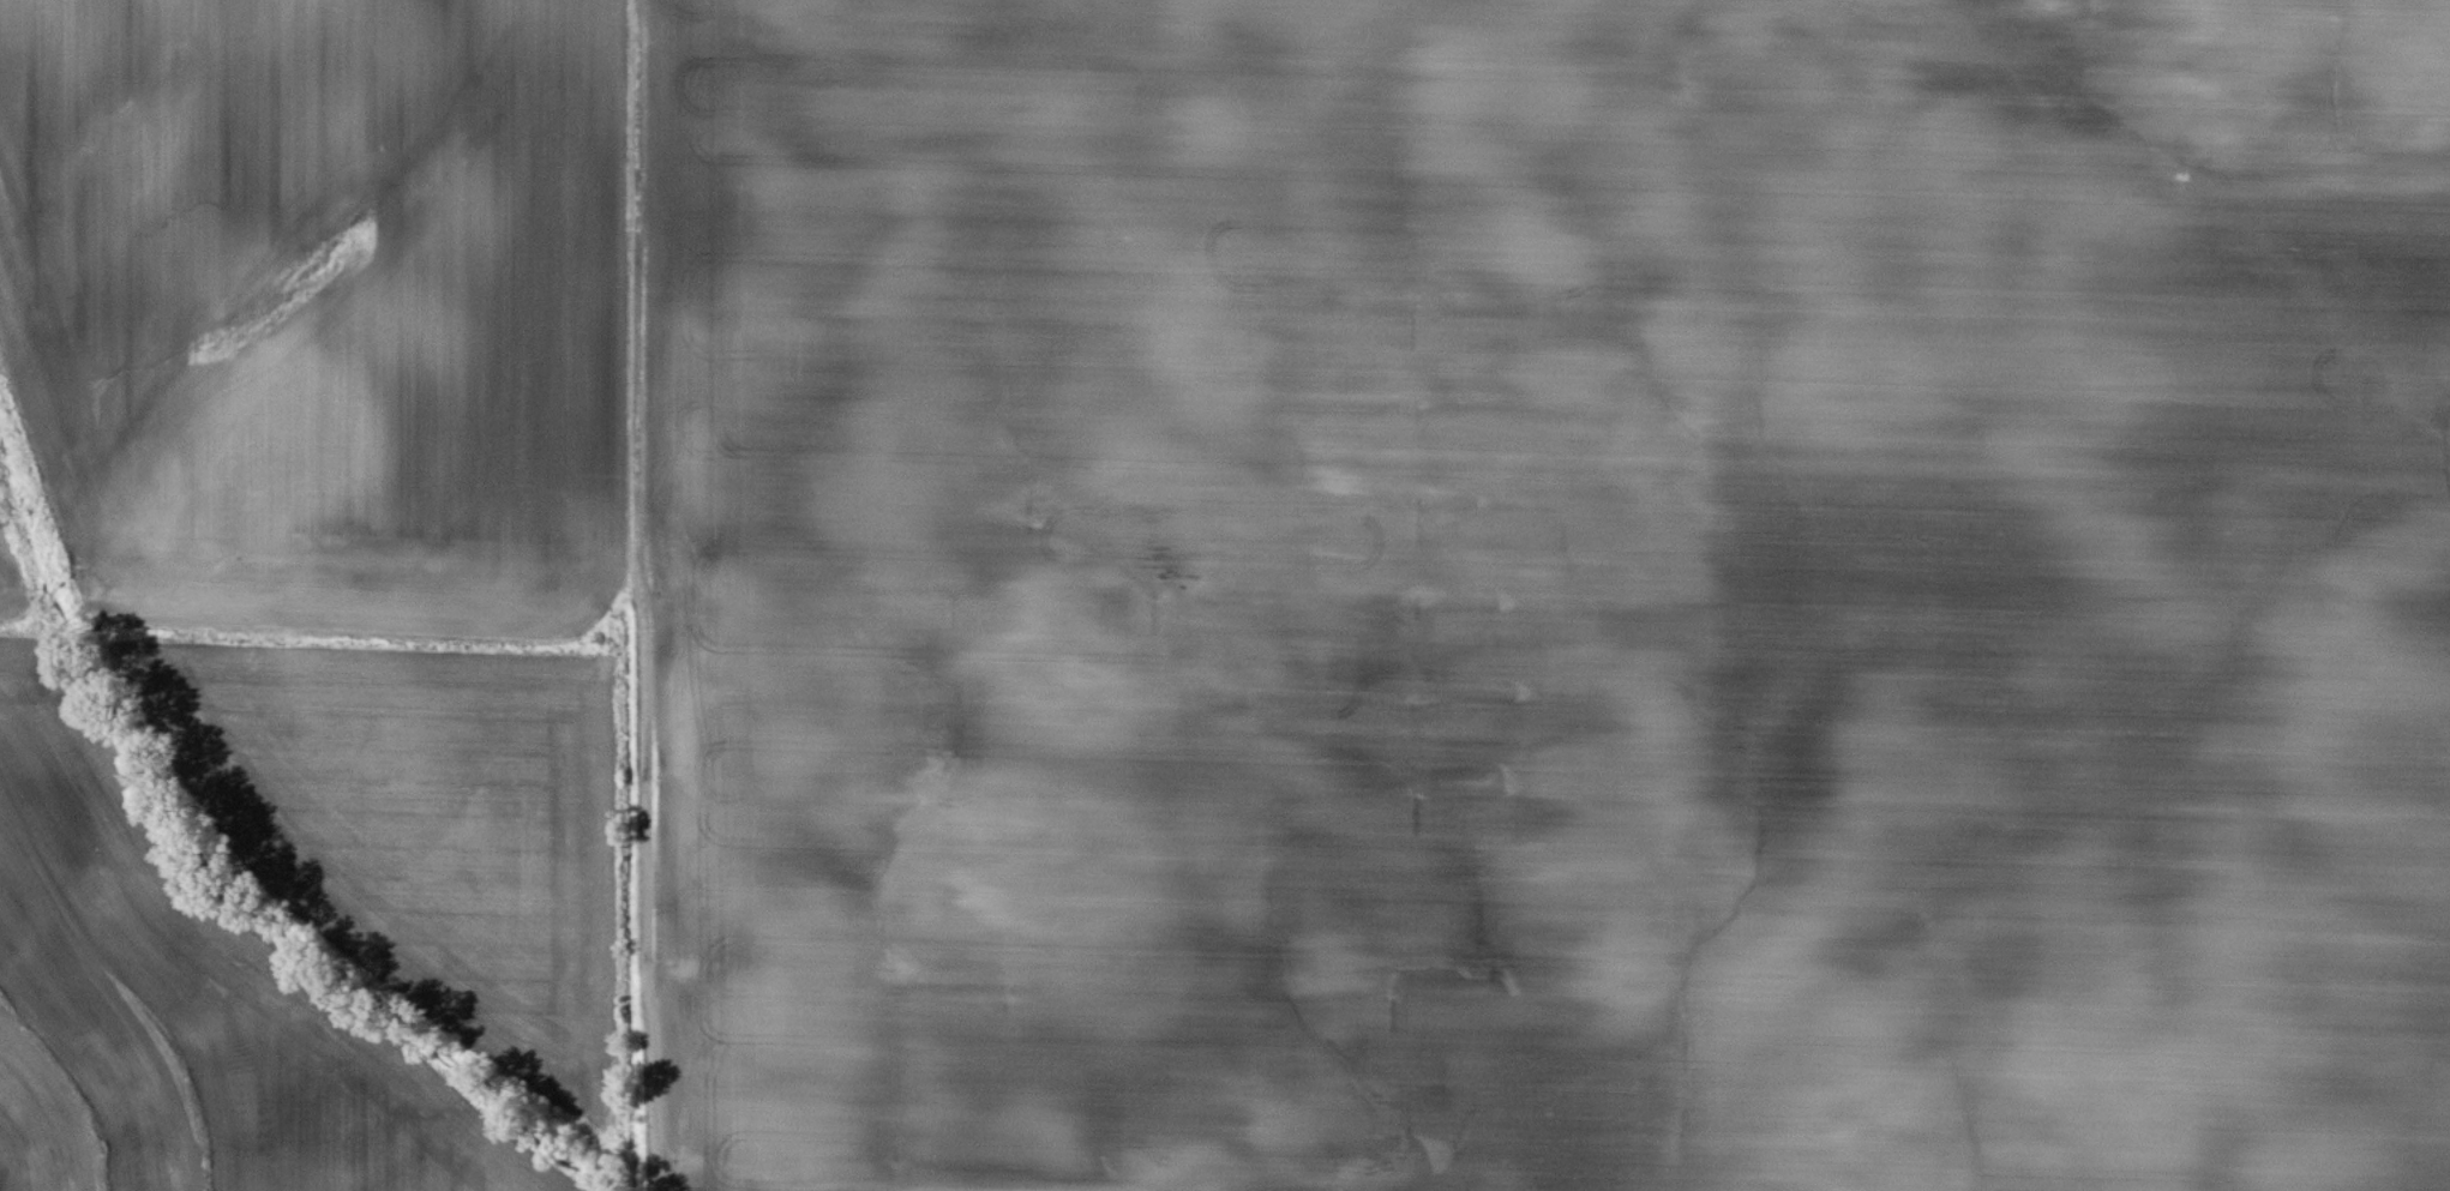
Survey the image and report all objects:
road: (644, 595)

